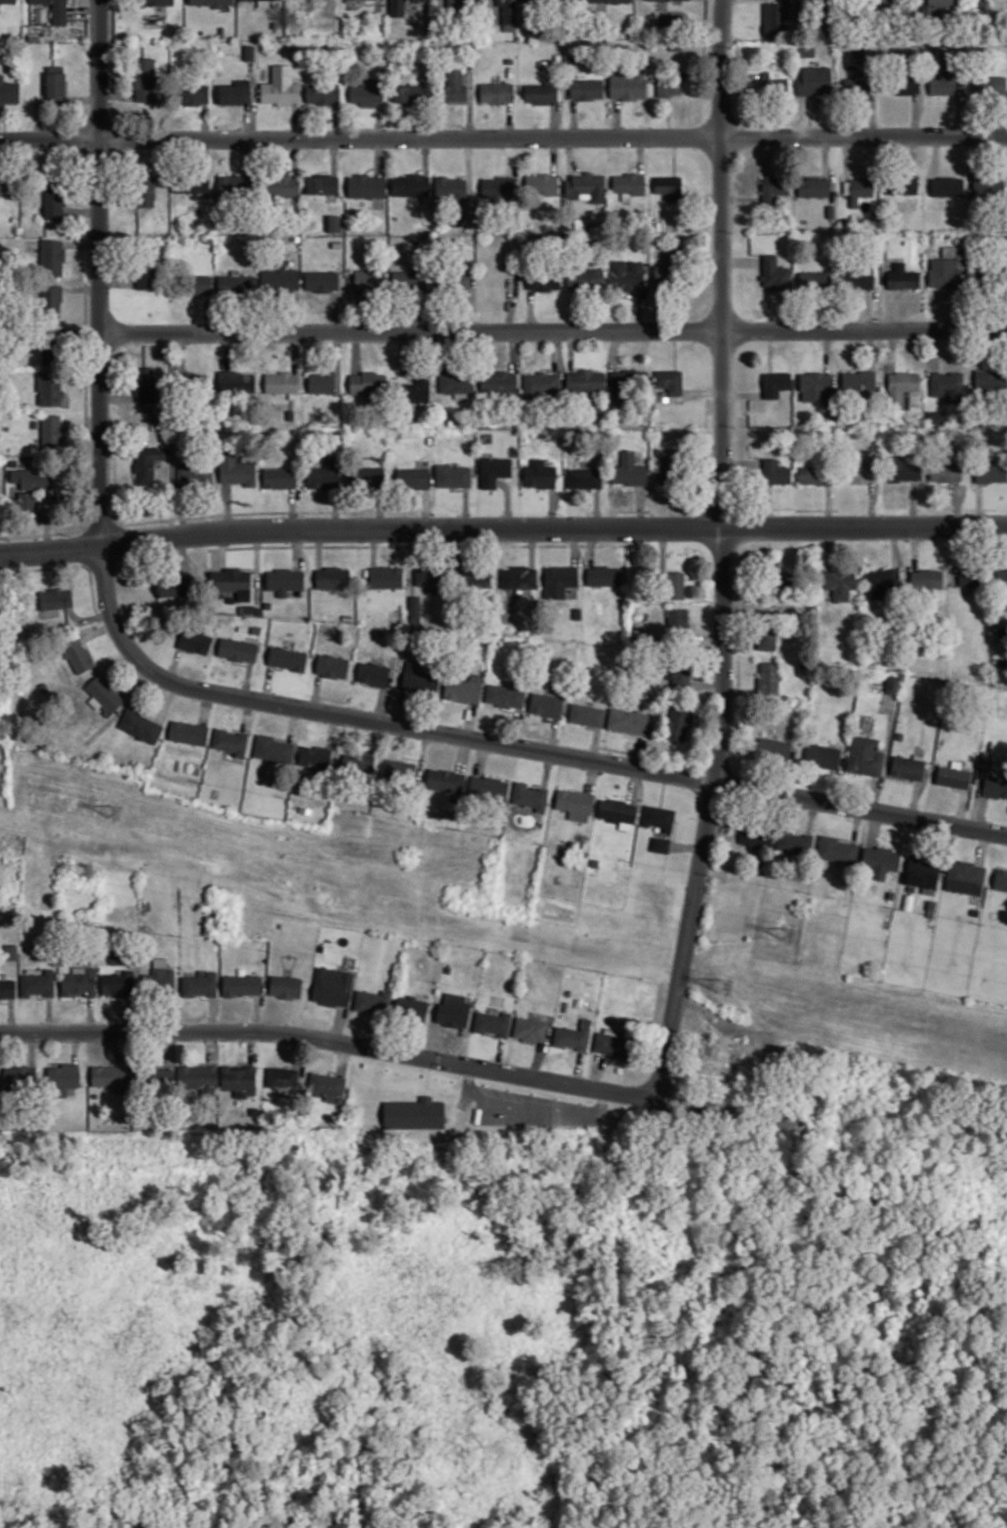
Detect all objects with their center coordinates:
building: (413, 0)
building: (609, 0)
building: (8, 1)
road: (438, 1)
building: (152, 2)
building: (210, 2)
building: (875, 2)
road: (378, 4)
building: (395, 7)
building: (932, 7)
building: (456, 9)
building: (58, 10)
road: (84, 10)
building: (507, 10)
building: (774, 18)
building: (221, 31)
building: (249, 52)
building: (508, 59)
building: (145, 78)
building: (944, 78)
building: (814, 80)
building: (904, 82)
building: (627, 83)
building: (856, 83)
building: (773, 84)
building: (989, 84)
building: (57, 85)
building: (667, 85)
building: (451, 87)
building: (585, 88)
building: (8, 89)
building: (366, 91)
building: (497, 91)
building: (236, 92)
road: (253, 92)
building: (279, 92)
building: (407, 92)
building: (193, 93)
building: (322, 93)
building: (539, 93)
road: (115, 94)
road: (470, 97)
road: (84, 99)
road: (874, 107)
road: (961, 110)
road: (915, 114)
road: (669, 116)
road: (802, 116)
road: (573, 117)
road: (616, 117)
road: (555, 119)
road: (249, 120)
road: (294, 120)
road: (335, 120)
road: (378, 120)
road: (509, 120)
road: (204, 121)
street lamp: (651, 125)
road: (503, 137)
road: (425, 154)
road: (554, 154)
road: (571, 154)
road: (641, 154)
road: (914, 154)
road: (512, 155)
road: (674, 155)
road: (936, 155)
road: (294, 156)
road: (334, 156)
road: (379, 156)
road: (847, 156)
road: (468, 166)
road: (827, 168)
building: (543, 182)
building: (630, 182)
building: (9, 183)
building: (192, 183)
building: (323, 183)
building: (411, 183)
building: (367, 184)
building: (587, 184)
building: (901, 184)
building: (236, 185)
building: (281, 185)
building: (499, 185)
building: (947, 185)
building: (987, 185)
building: (813, 186)
building: (452, 187)
building: (669, 187)
building: (773, 187)
building: (146, 188)
building: (860, 189)
road: (703, 196)
building: (55, 197)
road: (741, 198)
road: (117, 201)
road: (84, 211)
street lamp: (733, 232)
road: (82, 242)
building: (672, 253)
road: (704, 254)
building: (53, 256)
building: (146, 267)
road: (100, 271)
building: (949, 272)
building: (626, 273)
building: (282, 276)
building: (666, 276)
building: (858, 276)
building: (411, 277)
building: (457, 277)
building: (545, 277)
building: (586, 277)
building: (902, 277)
building: (986, 277)
building: (323, 280)
building: (371, 280)
building: (816, 280)
road: (117, 282)
building: (195, 283)
building: (238, 283)
road: (82, 289)
building: (52, 299)
road: (511, 303)
road: (868, 309)
road: (891, 309)
road: (531, 310)
road: (639, 310)
road: (335, 311)
road: (360, 311)
road: (473, 311)
road: (208, 313)
street lamp: (881, 318)
street lamp: (477, 319)
street lamp: (753, 319)
street lamp: (132, 321)
street lamp: (303, 321)
road: (553, 331)
building: (54, 344)
road: (614, 349)
road: (675, 349)
road: (871, 349)
road: (891, 349)
road: (934, 349)
road: (182, 350)
road: (225, 350)
road: (516, 350)
road: (571, 350)
road: (770, 350)
road: (827, 350)
road: (295, 351)
road: (357, 351)
road: (556, 351)
road: (338, 360)
road: (619, 365)
road: (833, 371)
building: (989, 379)
building: (587, 380)
building: (629, 380)
building: (671, 380)
building: (192, 381)
building: (237, 381)
building: (283, 381)
building: (501, 381)
building: (323, 382)
building: (370, 382)
building: (458, 382)
building: (774, 382)
building: (859, 382)
building: (542, 383)
building: (146, 384)
building: (947, 384)
building: (814, 386)
building: (418, 387)
building: (900, 388)
building: (50, 389)
road: (703, 392)
road: (741, 394)
road: (118, 397)
building: (935, 415)
building: (53, 430)
building: (14, 462)
building: (150, 462)
road: (741, 462)
building: (669, 466)
building: (238, 469)
building: (630, 469)
building: (900, 469)
building: (496, 470)
building: (989, 470)
building: (774, 471)
building: (944, 471)
building: (858, 472)
building: (541, 473)
building: (326, 474)
building: (814, 474)
building: (195, 475)
building: (369, 475)
building: (455, 475)
building: (281, 477)
building: (414, 477)
building: (586, 477)
building: (34, 485)
road: (508, 504)
road: (912, 504)
road: (957, 504)
road: (770, 505)
road: (871, 505)
road: (979, 505)
road: (381, 506)
road: (552, 506)
road: (640, 506)
road: (827, 506)
road: (467, 507)
road: (598, 507)
road: (294, 508)
road: (336, 508)
road: (425, 508)
road: (959, 508)
road: (184, 511)
road: (261, 511)
road: (229, 512)
street lamp: (882, 512)
street lamp: (435, 513)
road: (47, 527)
road: (502, 527)
road: (45, 533)
road: (562, 544)
road: (310, 545)
road: (374, 545)
road: (575, 545)
road: (592, 546)
road: (894, 546)
road: (320, 547)
road: (533, 547)
road: (914, 547)
road: (298, 548)
road: (663, 548)
road: (223, 549)
road: (723, 552)
road: (952, 554)
road: (186, 555)
road: (69, 565)
road: (257, 566)
road: (55, 567)
building: (605, 575)
building: (387, 576)
building: (475, 576)
building: (971, 576)
building: (334, 577)
building: (435, 578)
road: (704, 578)
building: (925, 578)
building: (522, 579)
building: (777, 579)
building: (285, 580)
building: (561, 580)
building: (234, 581)
building: (879, 581)
building: (1001, 581)
building: (838, 582)
building: (671, 583)
building: (179, 585)
building: (57, 597)
building: (268, 604)
building: (250, 608)
building: (259, 610)
building: (578, 612)
road: (76, 615)
building: (348, 617)
road: (91, 618)
building: (677, 623)
road: (97, 629)
building: (256, 629)
building: (765, 631)
building: (384, 633)
road: (707, 636)
building: (195, 640)
building: (239, 648)
building: (79, 655)
building: (288, 657)
road: (173, 663)
building: (333, 665)
road: (277, 668)
building: (678, 671)
building: (374, 673)
building: (767, 678)
building: (420, 679)
road: (135, 680)
road: (247, 680)
street lamp: (148, 681)
road: (268, 683)
road: (399, 683)
building: (891, 683)
road: (707, 684)
building: (465, 687)
road: (316, 691)
road: (738, 691)
building: (105, 694)
building: (506, 695)
road: (167, 702)
road: (382, 704)
building: (548, 704)
road: (206, 707)
road: (247, 714)
building: (587, 714)
road: (116, 715)
street lamp: (301, 718)
road: (469, 719)
building: (627, 720)
building: (677, 722)
road: (292, 723)
building: (142, 725)
road: (591, 727)
road: (331, 729)
building: (189, 731)
building: (636, 733)
road: (553, 734)
road: (540, 735)
road: (632, 736)
building: (231, 741)
street lamp: (432, 741)
road: (508, 743)
road: (595, 743)
building: (773, 747)
building: (273, 748)
road: (614, 749)
road: (639, 751)
road: (462, 753)
road: (886, 753)
road: (423, 754)
building: (822, 754)
building: (865, 754)
building: (316, 756)
road: (481, 756)
building: (359, 764)
building: (907, 766)
road: (548, 768)
building: (399, 769)
street lamp: (602, 772)
road: (591, 775)
building: (952, 776)
building: (447, 780)
road: (634, 784)
building: (490, 786)
building: (994, 786)
road: (663, 788)
building: (532, 795)
road: (915, 798)
building: (577, 803)
road: (961, 807)
building: (617, 810)
power tower: (114, 811)
road: (977, 812)
building: (657, 816)
road: (811, 816)
street lamp: (697, 818)
road: (856, 824)
road: (873, 827)
road: (674, 830)
building: (755, 835)
road: (846, 838)
building: (794, 841)
building: (660, 844)
road: (686, 845)
road: (981, 847)
building: (836, 849)
building: (879, 860)
building: (595, 862)
building: (922, 869)
power tower: (89, 875)
building: (963, 876)
building: (1000, 879)
power tower: (789, 935)
building: (10, 952)
building: (117, 955)
building: (160, 977)
building: (80, 981)
building: (119, 982)
building: (39, 983)
building: (200, 984)
building: (242, 984)
building: (287, 985)
building: (333, 986)
building: (8, 988)
power tower: (724, 988)
building: (375, 1000)
building: (413, 1006)
building: (454, 1010)
building: (494, 1022)
building: (530, 1029)
building: (572, 1035)
road: (366, 1041)
building: (612, 1043)
building: (717, 1054)
building: (64, 1076)
building: (113, 1076)
building: (155, 1076)
building: (283, 1076)
building: (200, 1077)
building: (21, 1078)
building: (241, 1079)
building: (328, 1086)
road: (528, 1107)
building: (414, 1112)

